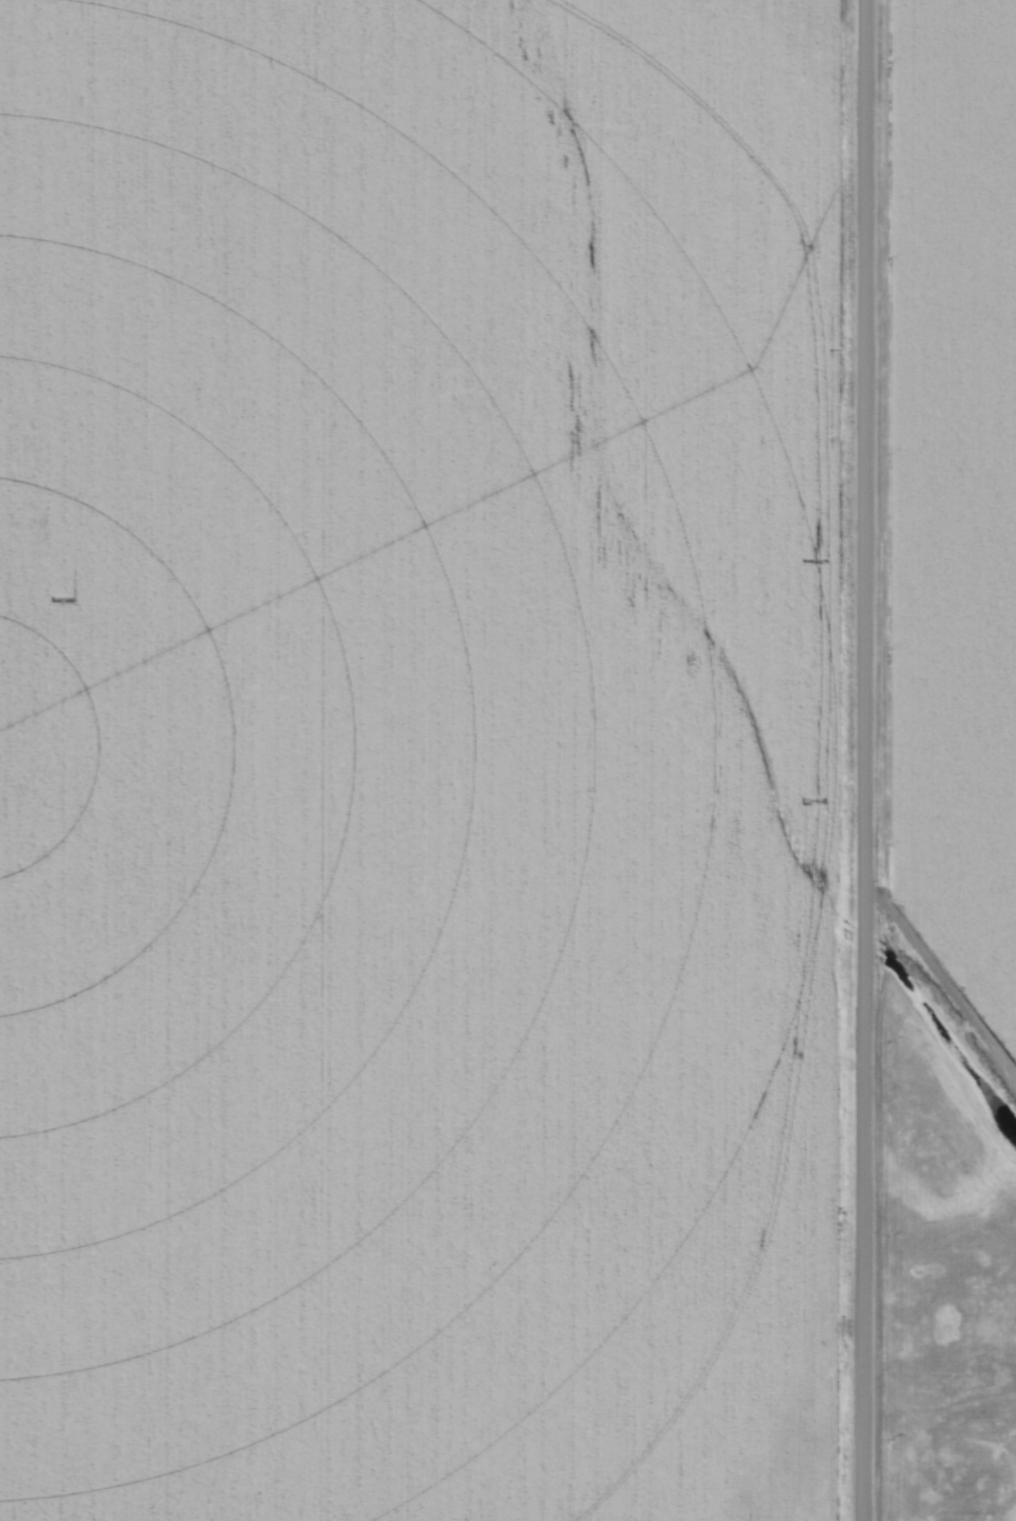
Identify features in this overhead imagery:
road: (865, 760)

